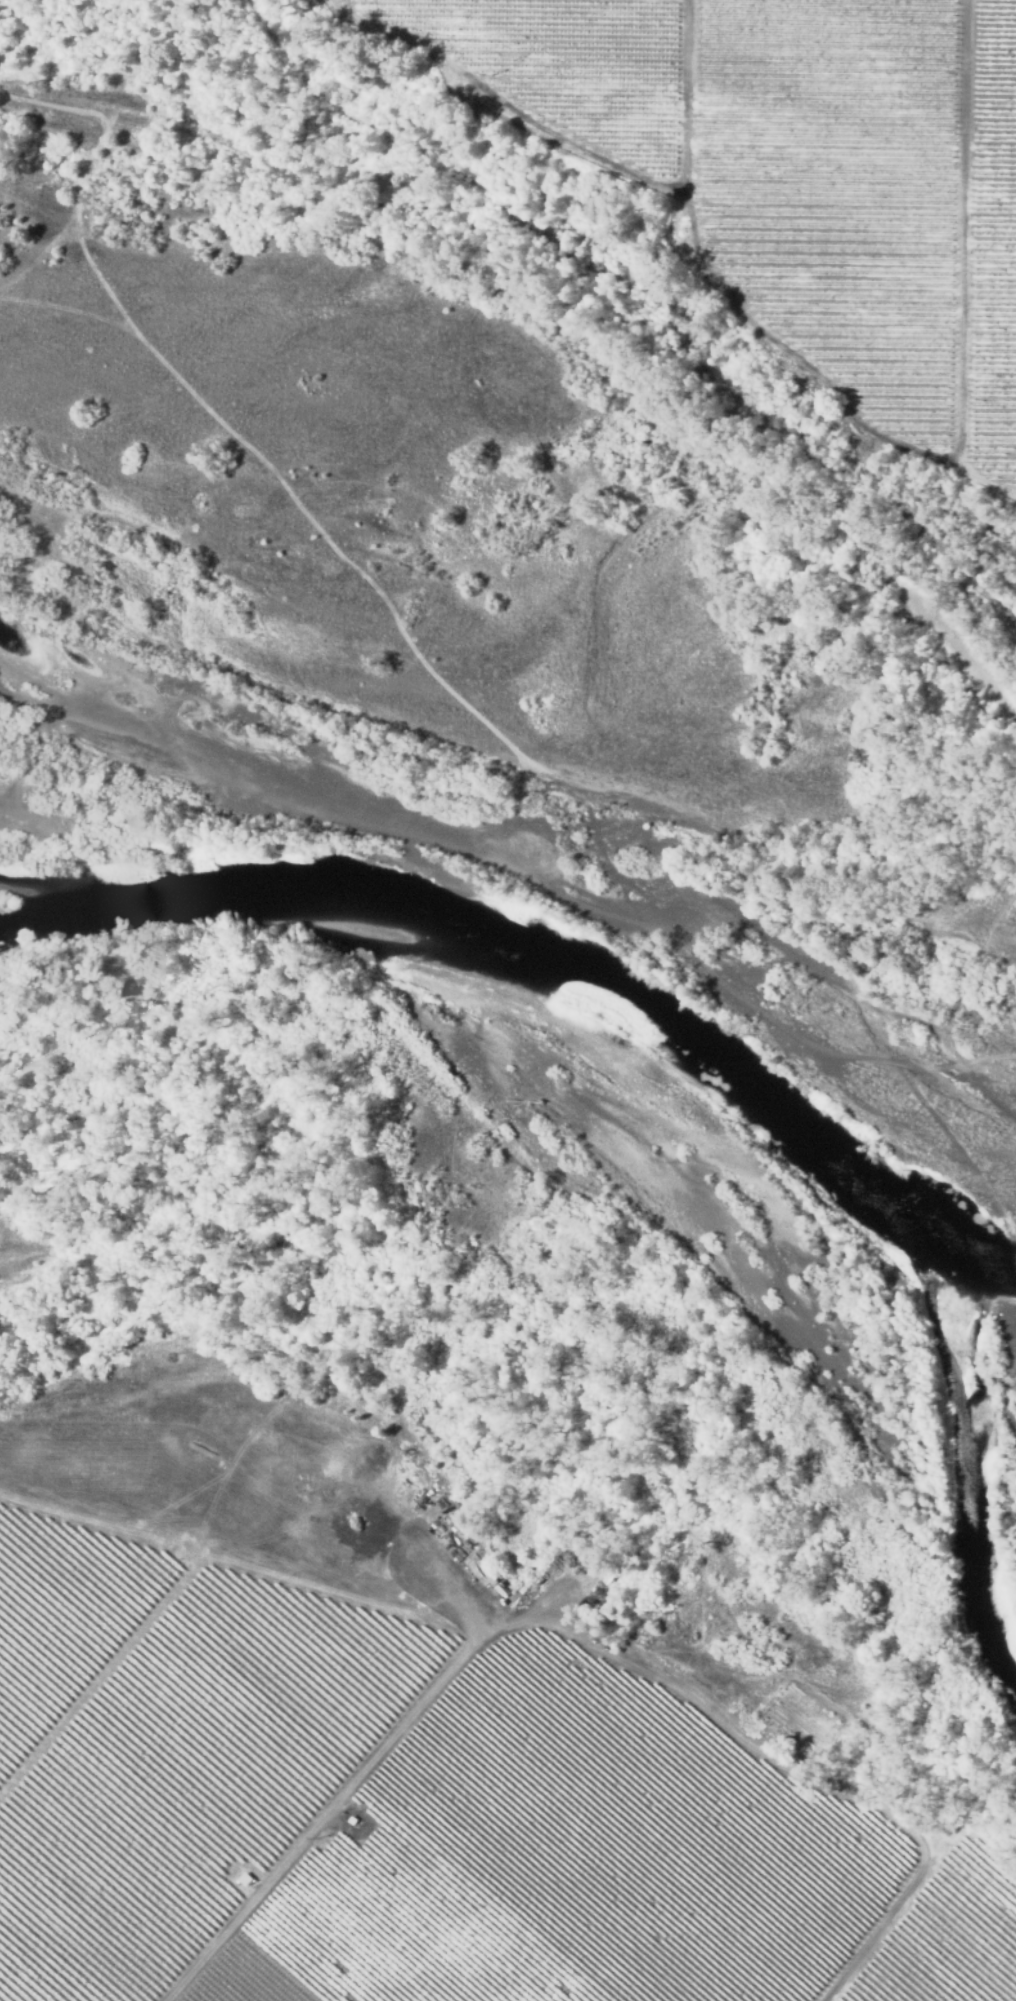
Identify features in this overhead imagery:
river: (612, 1038)
building: (502, 1591)
building: (584, 1608)
road: (347, 1791)
building: (352, 1819)
building: (245, 1883)

